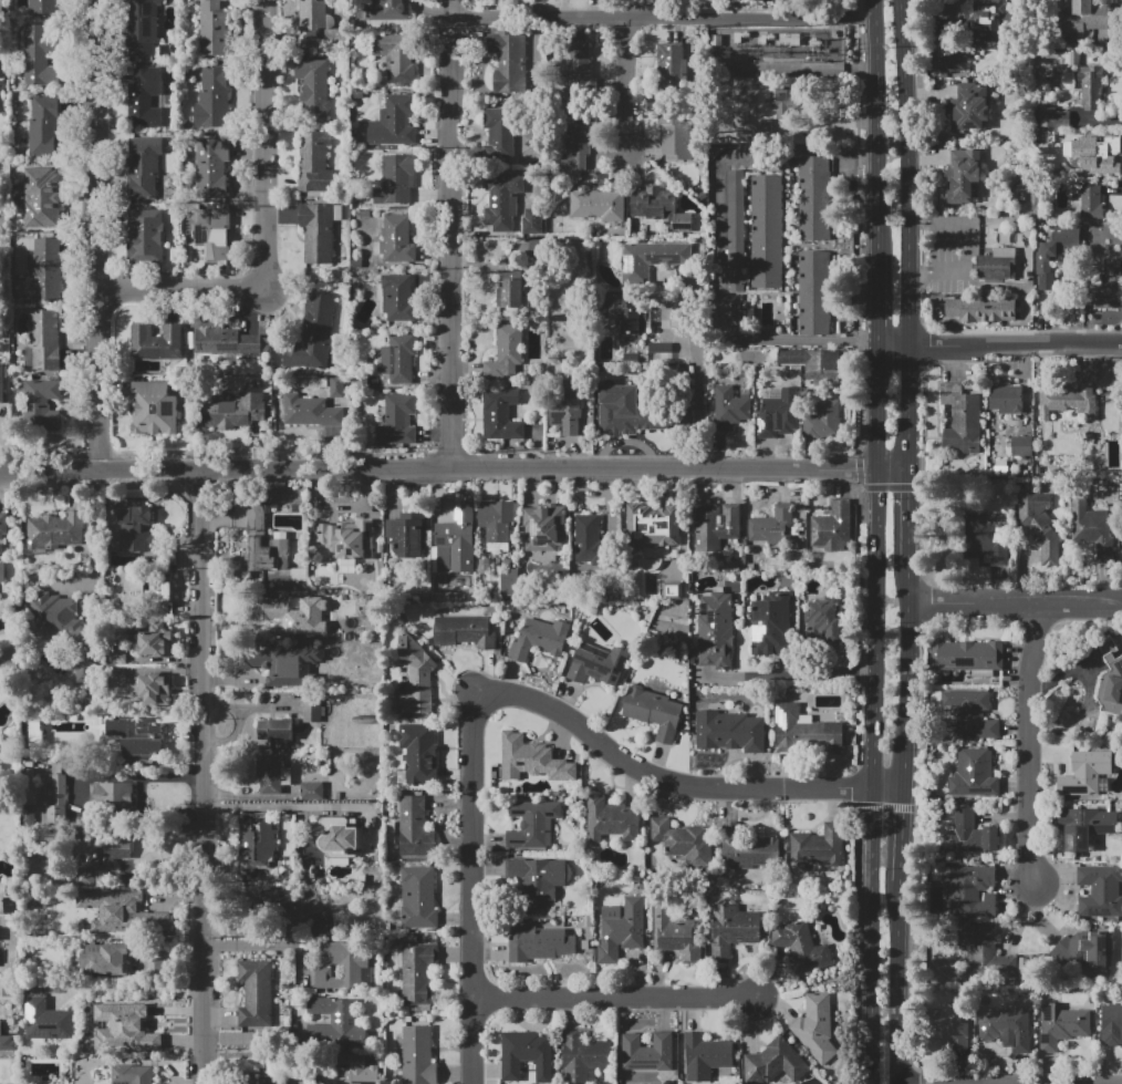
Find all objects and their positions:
building: (44, 7)
building: (1, 9)
building: (389, 10)
building: (1090, 19)
building: (311, 21)
road: (652, 21)
building: (987, 21)
building: (143, 27)
building: (212, 29)
road: (448, 38)
building: (788, 38)
power substation: (778, 49)
building: (41, 56)
building: (396, 56)
building: (1071, 60)
building: (509, 62)
building: (955, 63)
building: (668, 64)
building: (578, 66)
building: (1, 72)
road: (624, 85)
building: (1090, 86)
building: (313, 87)
building: (143, 94)
building: (215, 97)
building: (782, 100)
building: (1, 102)
building: (969, 107)
building: (1053, 115)
building: (398, 117)
building: (45, 125)
building: (762, 126)
road: (877, 128)
building: (673, 131)
building: (499, 133)
building: (576, 138)
road: (264, 144)
building: (1092, 155)
building: (314, 162)
building: (144, 167)
building: (212, 168)
road: (908, 172)
building: (964, 176)
building: (396, 182)
building: (41, 197)
building: (502, 198)
building: (814, 198)
building: (1088, 202)
building: (599, 204)
building: (659, 206)
building: (530, 220)
building: (319, 230)
building: (736, 230)
building: (767, 231)
building: (212, 234)
building: (145, 235)
road: (106, 236)
building: (395, 239)
road: (718, 244)
building: (1052, 255)
building: (653, 260)
road: (449, 264)
building: (995, 266)
building: (1113, 267)
building: (43, 268)
road: (186, 287)
building: (511, 288)
building: (1105, 292)
building: (814, 293)
building: (396, 298)
road: (876, 301)
building: (981, 309)
building: (627, 317)
building: (314, 334)
building: (44, 341)
building: (157, 342)
building: (224, 343)
road: (892, 343)
road: (1015, 343)
building: (661, 352)
building: (506, 353)
building: (631, 357)
building: (399, 358)
building: (814, 365)
building: (681, 369)
building: (2, 384)
building: (337, 386)
building: (1007, 399)
road: (696, 400)
building: (1069, 404)
building: (42, 406)
building: (155, 407)
building: (728, 409)
road: (875, 409)
building: (567, 410)
road: (910, 410)
building: (311, 412)
building: (626, 412)
building: (777, 413)
building: (500, 414)
building: (237, 415)
building: (397, 421)
building: (823, 421)
building: (963, 422)
building: (1021, 446)
road: (437, 473)
road: (893, 475)
road: (911, 518)
building: (497, 523)
building: (772, 525)
building: (1040, 525)
building: (834, 526)
building: (544, 527)
building: (715, 527)
building: (1093, 528)
building: (2, 529)
building: (135, 529)
building: (55, 533)
building: (405, 533)
building: (652, 533)
building: (589, 534)
building: (347, 538)
building: (985, 540)
building: (455, 541)
road: (95, 543)
building: (276, 551)
building: (2, 572)
building: (298, 575)
building: (508, 581)
building: (672, 590)
building: (146, 592)
road: (1016, 605)
building: (339, 607)
building: (276, 609)
building: (827, 620)
building: (771, 624)
building: (64, 629)
building: (465, 630)
building: (715, 630)
road: (872, 632)
building: (540, 639)
building: (155, 640)
building: (117, 653)
building: (967, 655)
building: (283, 664)
building: (598, 664)
building: (118, 677)
road: (785, 677)
road: (910, 677)
building: (416, 678)
building: (1110, 679)
building: (157, 689)
road: (495, 695)
building: (311, 710)
building: (654, 712)
building: (972, 714)
building: (726, 732)
building: (804, 732)
building: (35, 733)
building: (277, 733)
road: (1027, 743)
building: (145, 744)
building: (419, 754)
building: (532, 760)
building: (271, 774)
building: (974, 774)
building: (1087, 774)
road: (202, 778)
building: (311, 791)
road: (887, 791)
building: (112, 794)
building: (55, 799)
road: (283, 805)
building: (611, 820)
building: (533, 824)
building: (1084, 826)
building: (416, 829)
building: (974, 833)
road: (903, 835)
building: (339, 836)
building: (683, 842)
building: (257, 846)
building: (820, 847)
building: (745, 848)
building: (100, 857)
building: (537, 880)
building: (968, 889)
building: (1100, 891)
building: (418, 898)
building: (277, 900)
building: (123, 912)
building: (323, 928)
building: (733, 930)
building: (623, 931)
building: (676, 932)
road: (869, 937)
building: (539, 942)
road: (264, 946)
building: (802, 948)
building: (986, 952)
building: (1083, 952)
building: (105, 960)
building: (356, 966)
building: (156, 969)
building: (417, 972)
road: (898, 982)
road: (131, 990)
building: (257, 993)
road: (622, 999)
building: (50, 1020)
building: (1112, 1020)
building: (335, 1021)
building: (1061, 1025)
building: (817, 1029)
building: (1006, 1029)
building: (125, 1030)
building: (946, 1031)
building: (7, 1043)
building: (646, 1052)
building: (418, 1055)
building: (528, 1055)
building: (583, 1055)
building: (706, 1056)
building: (776, 1064)
building: (359, 1068)
building: (132, 1074)
building: (272, 1080)

